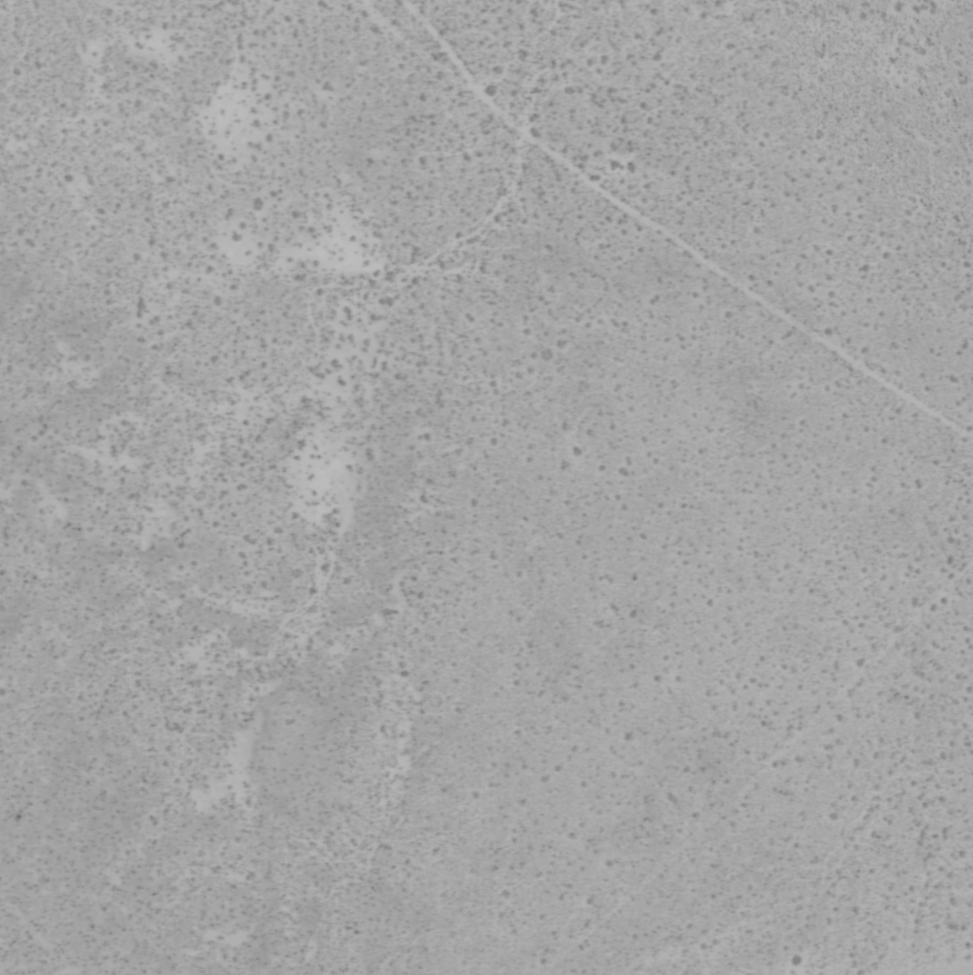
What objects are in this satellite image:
airport: (486, 487)

